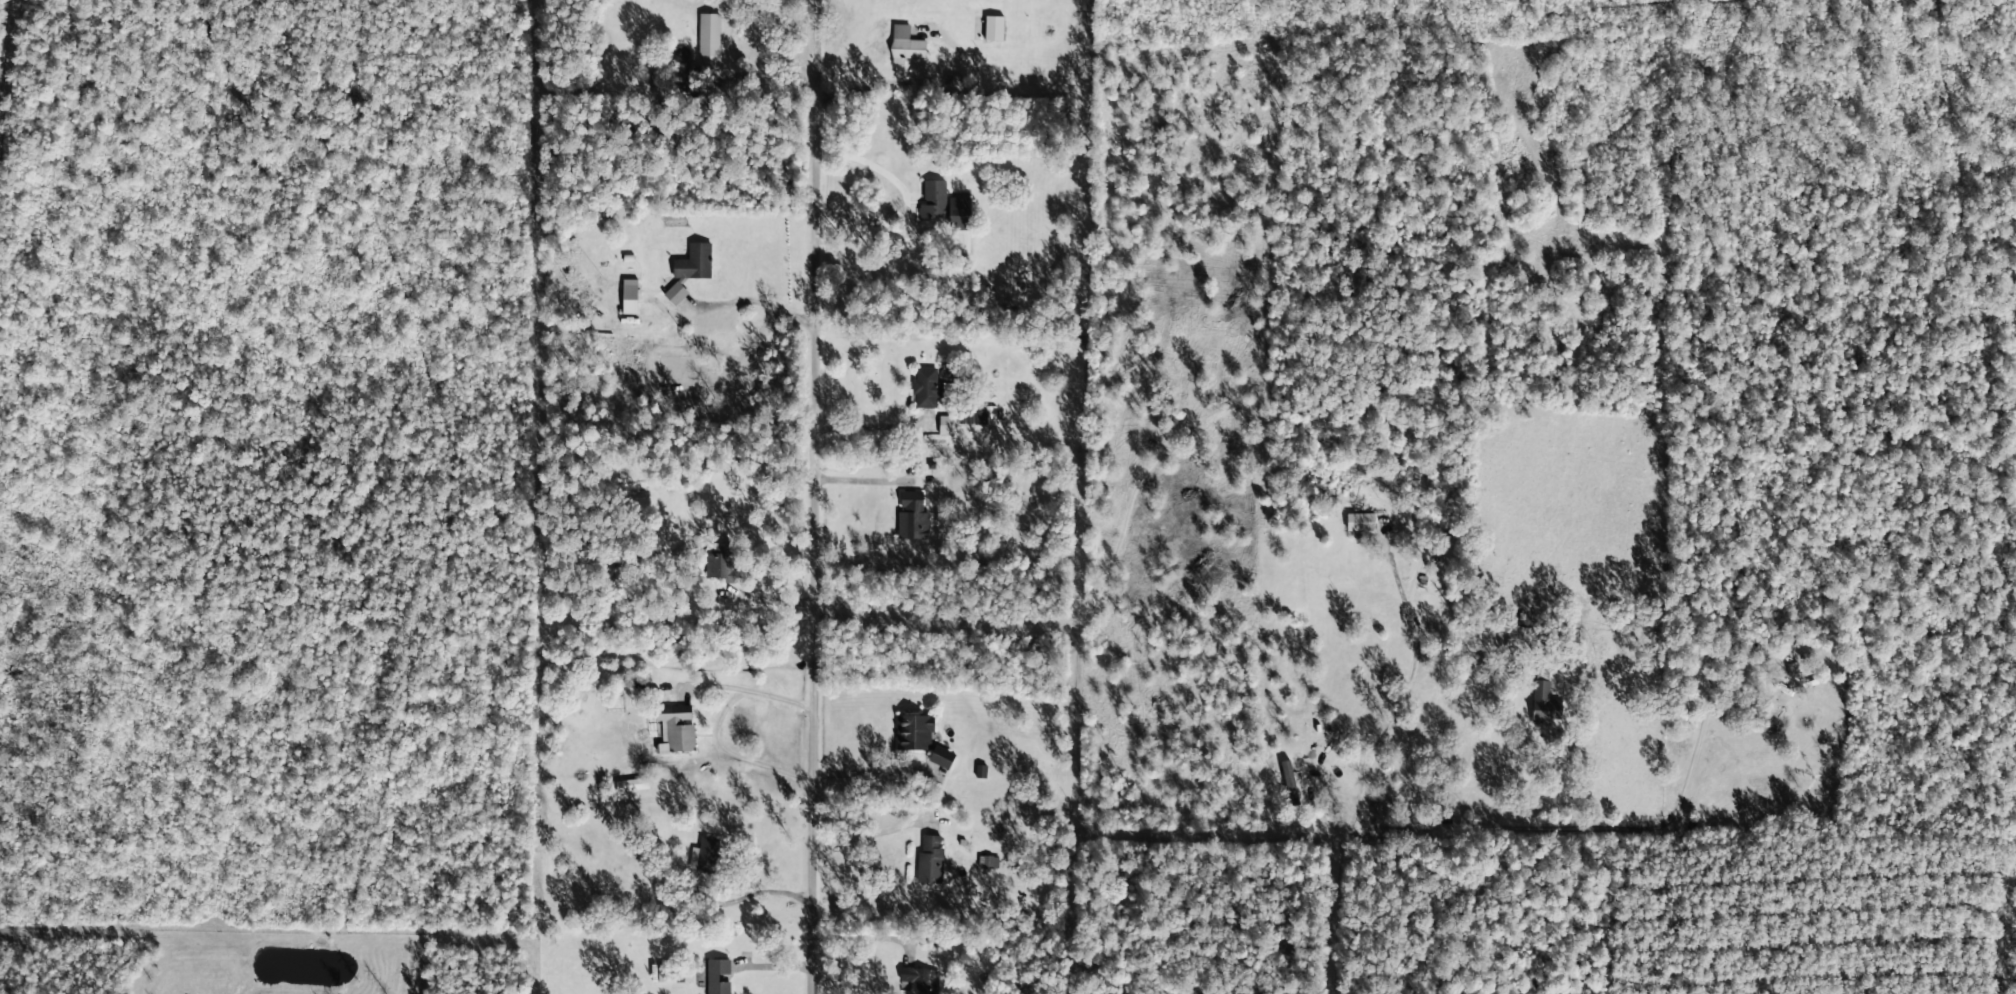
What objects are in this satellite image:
building: (993, 27)
railway: (4, 28)
building: (709, 39)
building: (905, 44)
building: (943, 203)
building: (690, 266)
building: (629, 294)
building: (926, 385)
building: (976, 414)
building: (944, 423)
road: (824, 496)
building: (912, 515)
building: (1360, 520)
building: (1792, 675)
building: (1545, 704)
building: (675, 728)
building: (914, 730)
building: (942, 755)
building: (1289, 780)
building: (707, 852)
building: (930, 858)
building: (992, 861)
building: (717, 975)
building: (919, 977)

